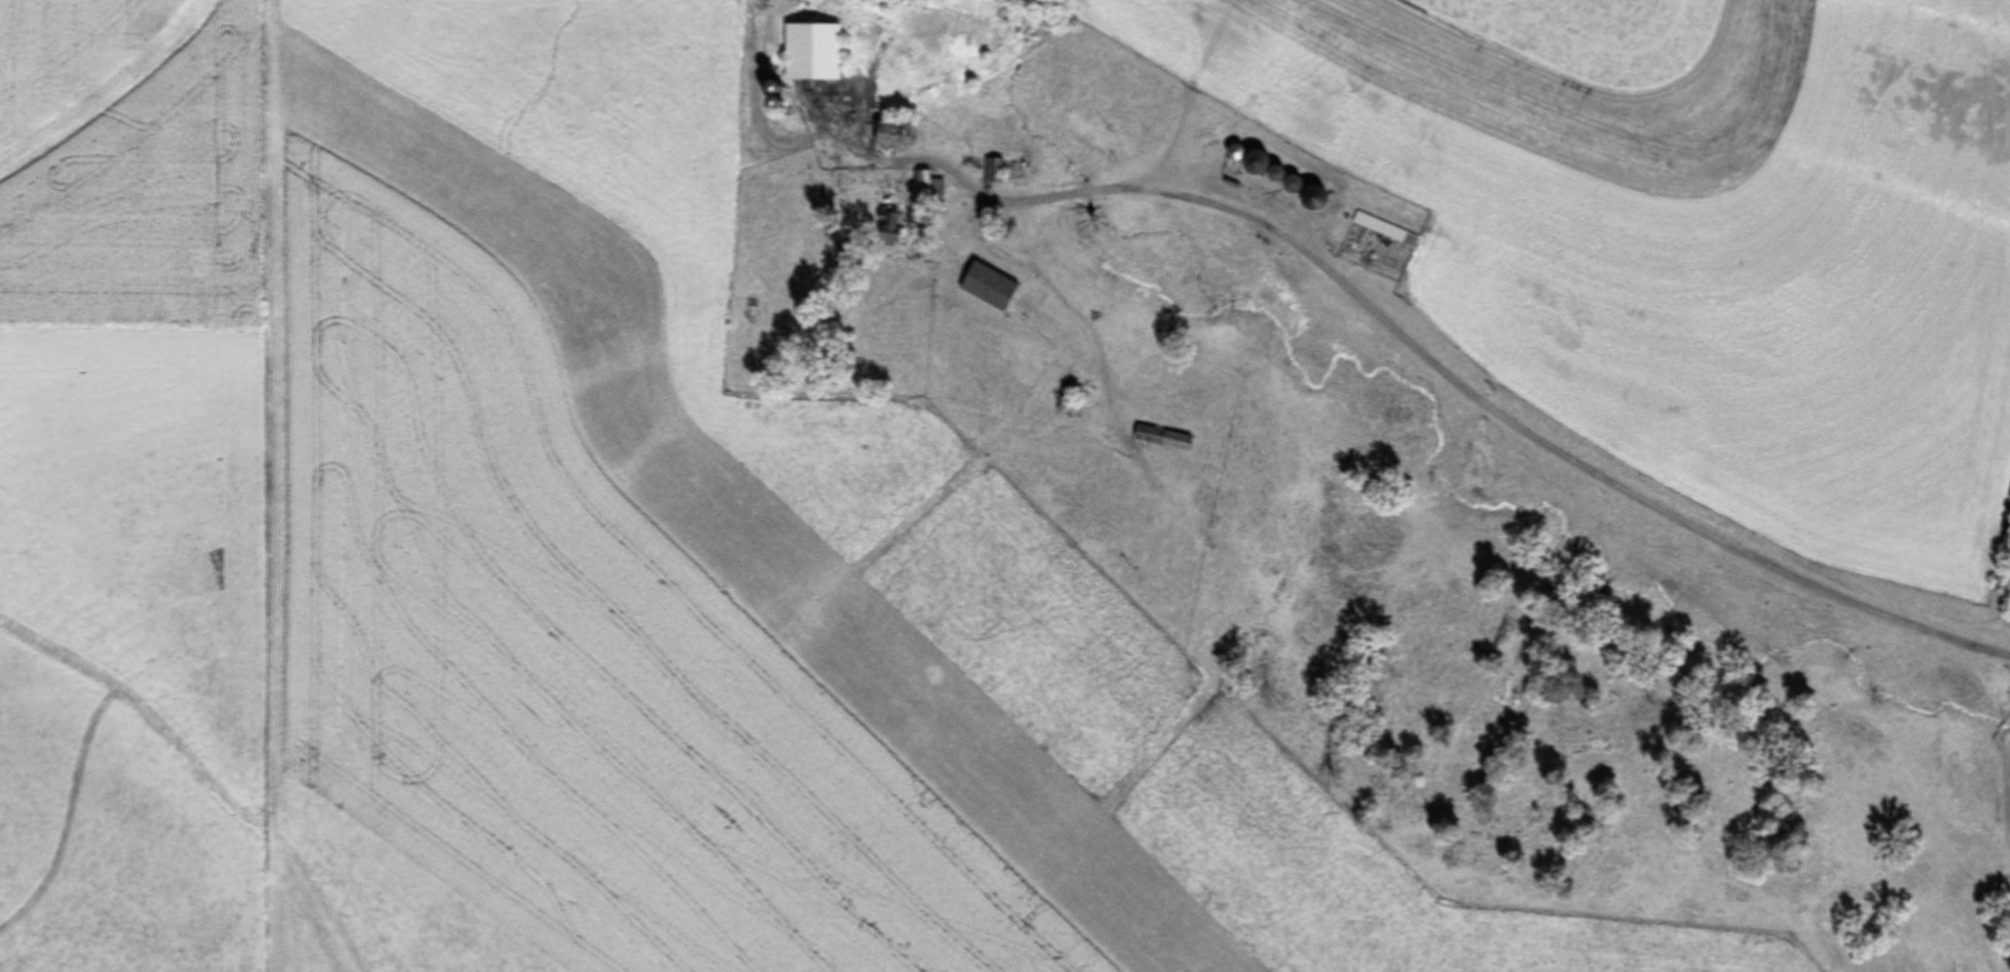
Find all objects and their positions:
building: (810, 52)
building: (889, 132)
building: (992, 171)
building: (924, 184)
building: (889, 227)
building: (1385, 230)
building: (987, 287)
road: (1469, 380)

